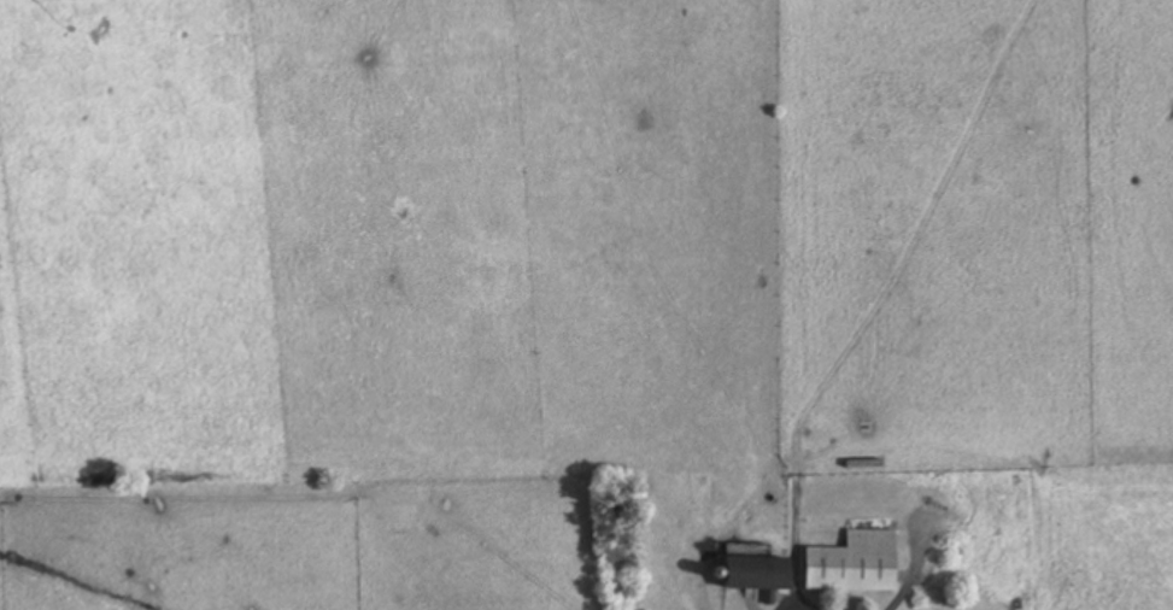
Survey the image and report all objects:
building: (856, 564)
building: (761, 573)

